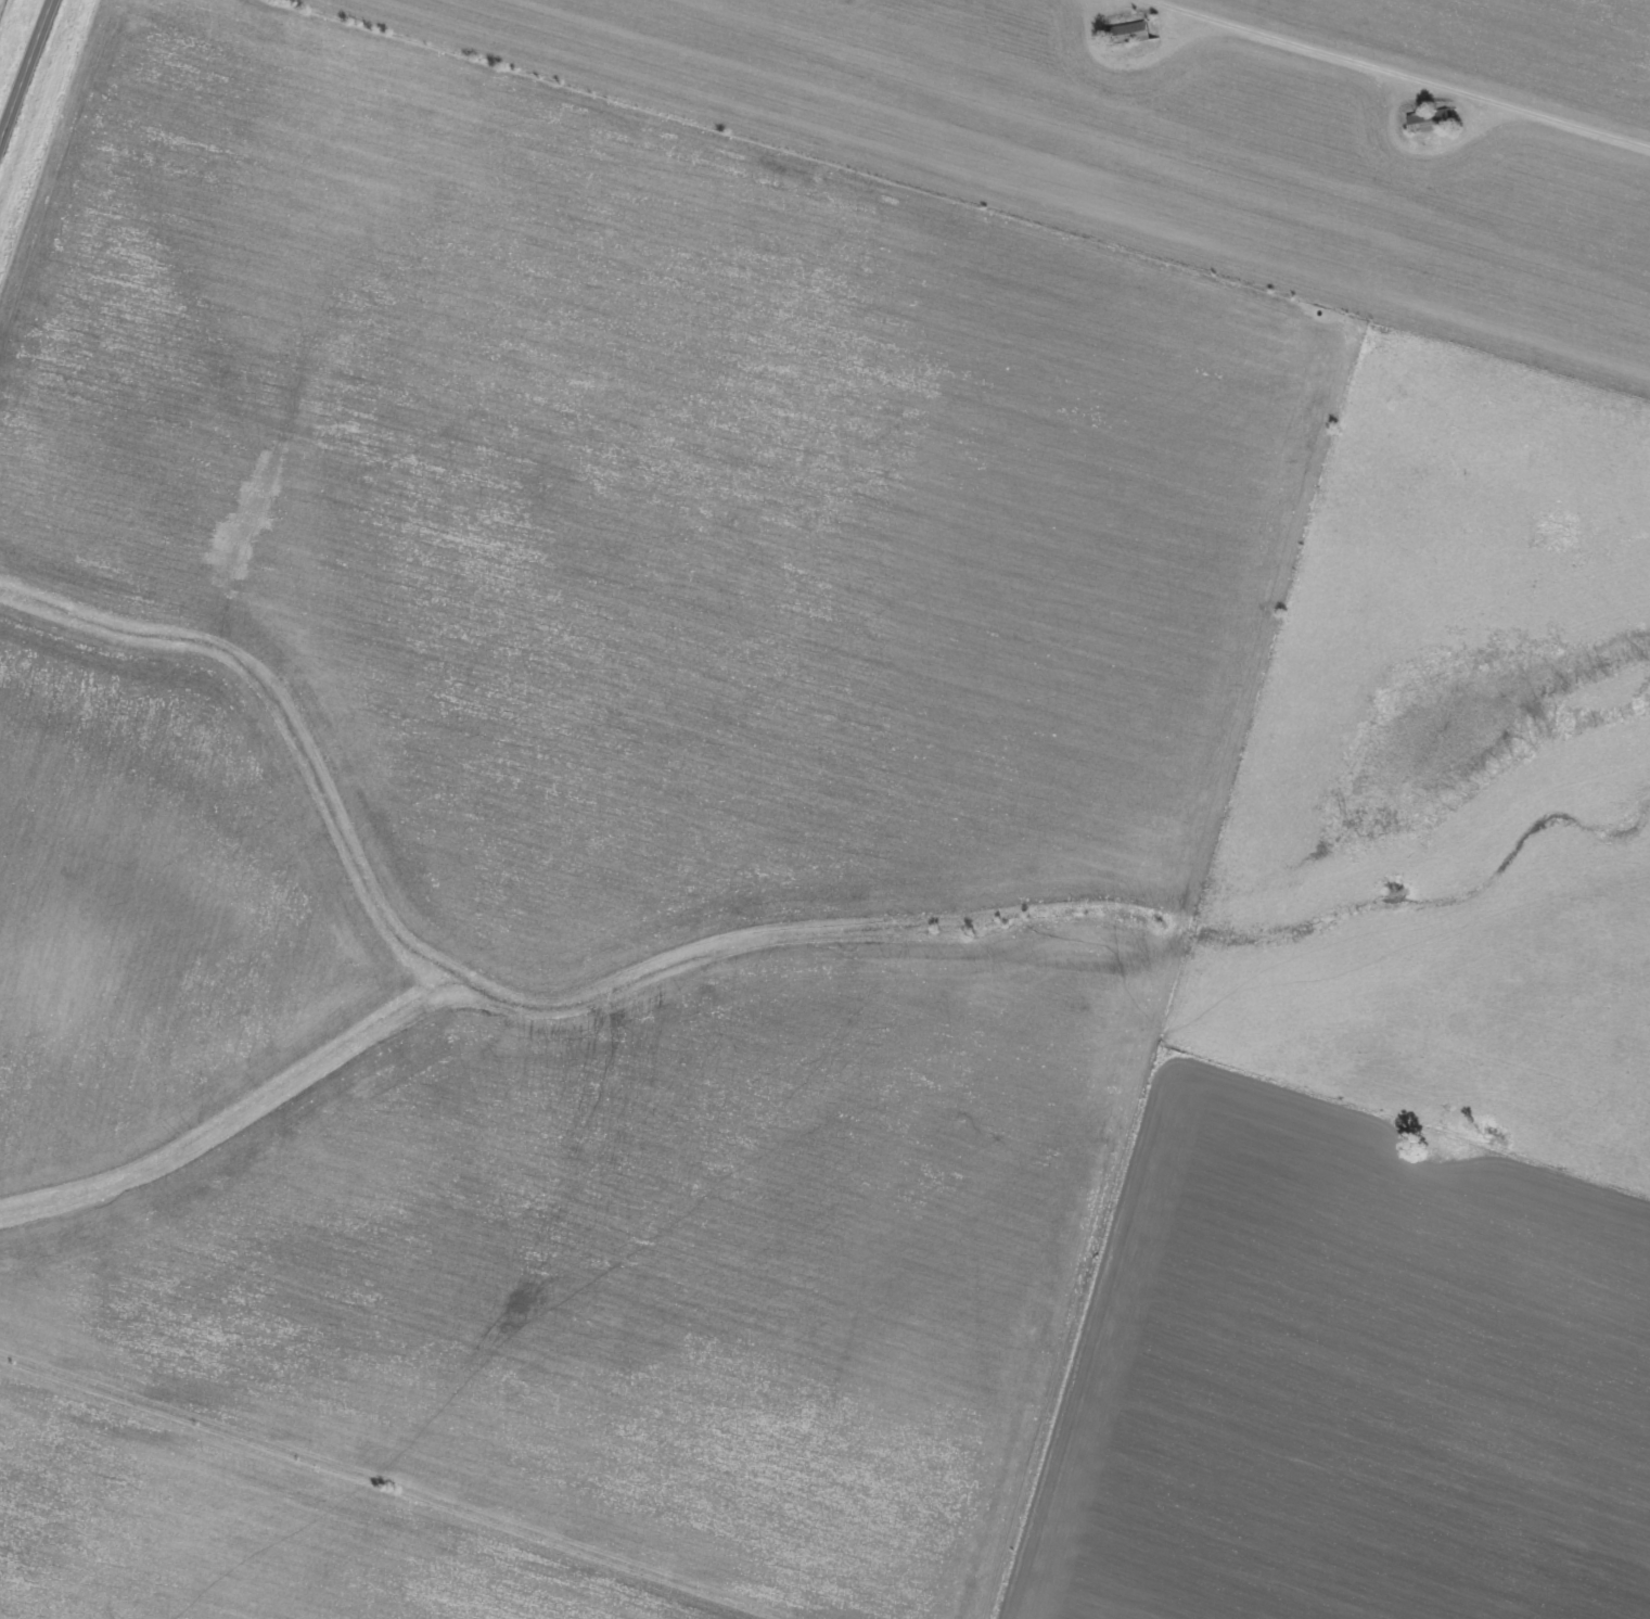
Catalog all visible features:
building: (1129, 31)
road: (24, 67)
road: (1393, 75)
building: (1430, 119)

